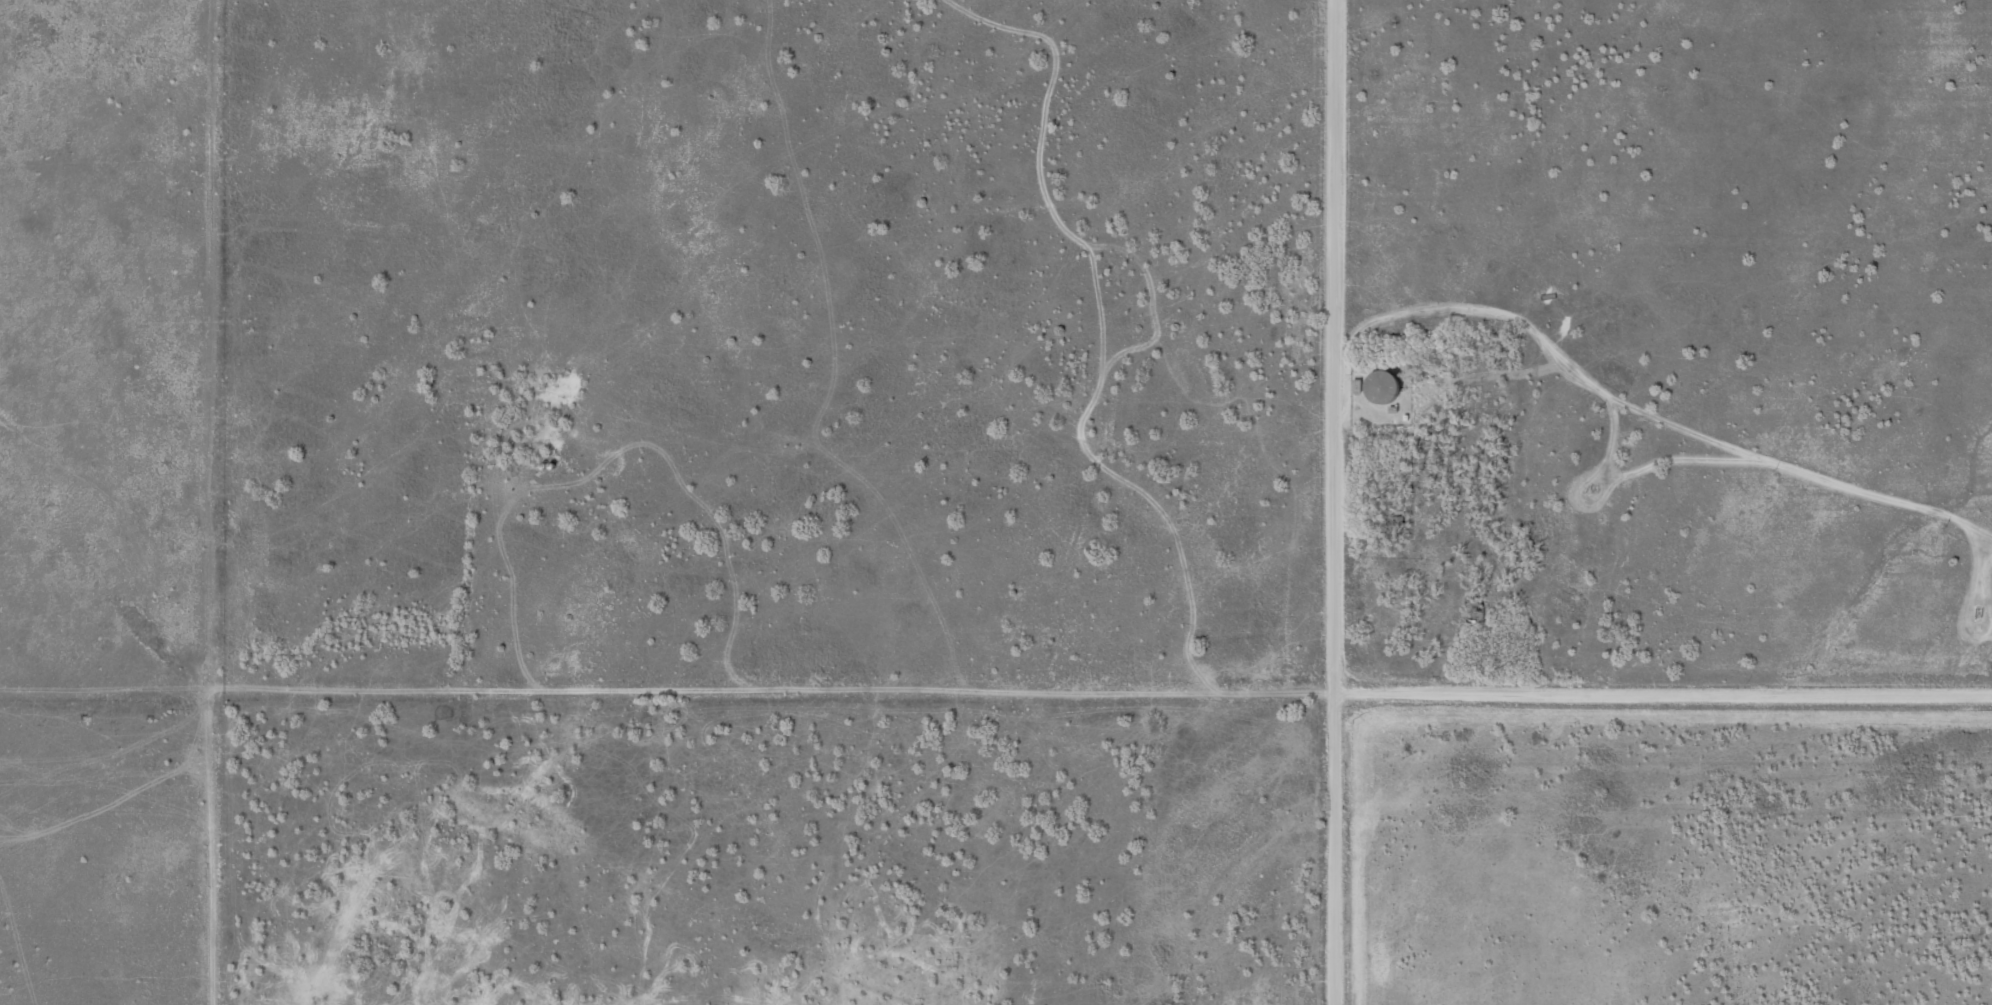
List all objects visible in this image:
building: (1379, 385)
road: (1330, 502)
road: (1661, 687)
road: (631, 694)

